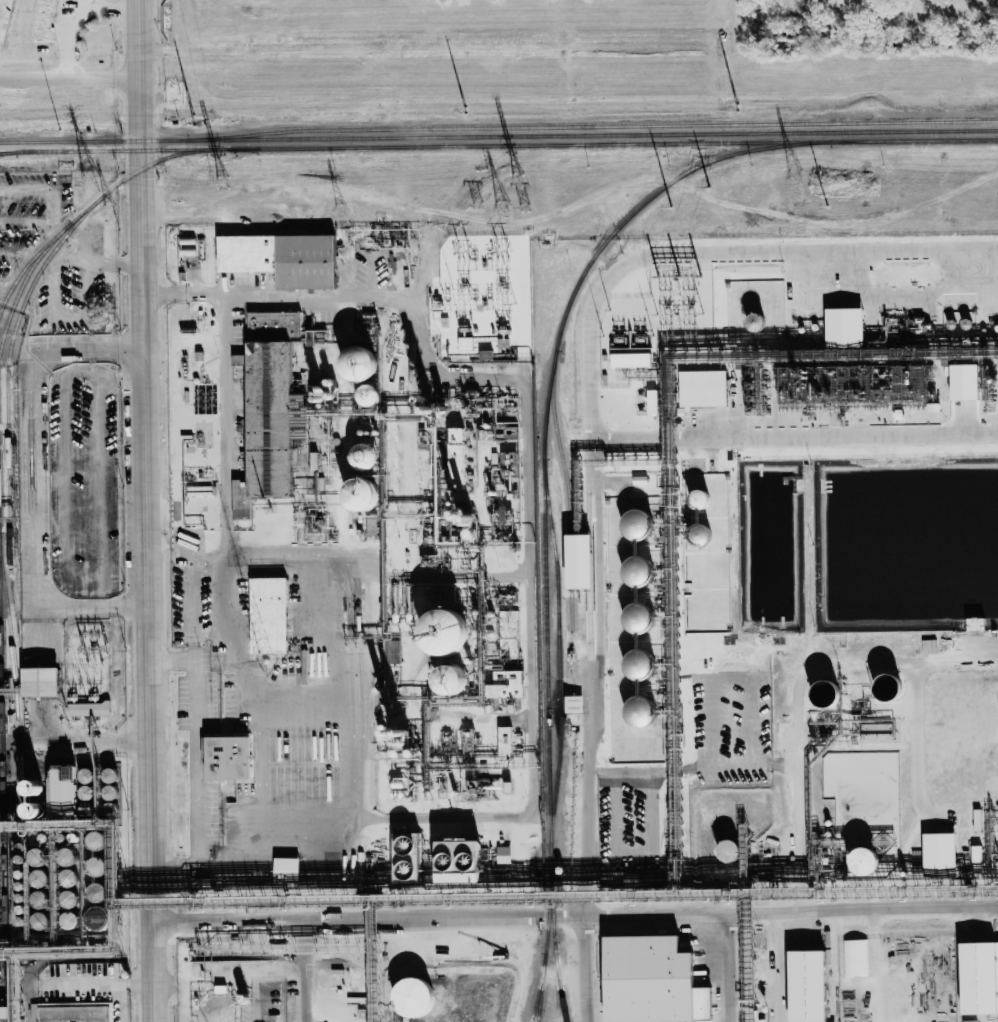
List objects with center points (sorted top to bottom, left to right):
road: (115, 11)
road: (68, 38)
road: (70, 77)
power tower: (737, 111)
power tower: (464, 113)
power tower: (194, 119)
railway: (592, 125)
railway: (499, 135)
railway: (505, 145)
railway: (7, 152)
railway: (7, 152)
power tower: (795, 176)
power tower: (516, 179)
power tower: (90, 181)
power tower: (221, 182)
power tower: (477, 203)
power tower: (840, 204)
power tower: (683, 206)
power tower: (502, 207)
power tower: (110, 209)
power tower: (341, 209)
railway: (80, 213)
building: (281, 258)
railway: (29, 260)
road: (99, 261)
power substation: (487, 286)
building: (754, 323)
building: (844, 325)
building: (465, 343)
road: (70, 346)
building: (239, 359)
building: (631, 360)
building: (359, 364)
railway: (7, 368)
building: (965, 382)
building: (702, 388)
building: (369, 395)
building: (299, 402)
building: (268, 409)
railway: (557, 441)
building: (364, 456)
building: (456, 458)
parking lot: (88, 477)
building: (362, 495)
railway: (543, 497)
building: (700, 499)
road: (143, 511)
building: (636, 524)
road: (43, 528)
building: (701, 534)
railway: (569, 562)
building: (578, 562)
building: (636, 571)
road: (227, 575)
road: (532, 586)
railway: (570, 612)
building: (268, 615)
building: (637, 618)
building: (975, 624)
building: (445, 634)
building: (1, 639)
road: (332, 644)
building: (928, 647)
railway: (557, 658)
power substation: (95, 662)
building: (639, 665)
road: (596, 673)
building: (452, 681)
building: (40, 682)
building: (506, 685)
building: (889, 688)
building: (825, 693)
railway: (16, 700)
road: (302, 701)
building: (574, 704)
building: (88, 709)
building: (640, 712)
building: (393, 737)
road: (193, 740)
building: (504, 742)
building: (227, 759)
road: (669, 768)
building: (108, 776)
building: (85, 777)
building: (64, 789)
building: (85, 794)
building: (33, 802)
road: (648, 811)
road: (684, 824)
road: (615, 826)
building: (94, 841)
railway: (2, 844)
building: (729, 852)
building: (939, 853)
building: (976, 853)
building: (504, 854)
building: (37, 858)
building: (67, 858)
building: (458, 858)
building: (409, 859)
building: (865, 863)
building: (96, 867)
building: (286, 868)
building: (68, 878)
building: (38, 879)
building: (96, 893)
building: (68, 899)
building: (38, 900)
road: (859, 908)
road: (493, 915)
building: (98, 919)
building: (39, 921)
building: (69, 921)
railway: (545, 949)
building: (849, 953)
road: (775, 966)
road: (303, 970)
building: (979, 976)
building: (652, 980)
railway: (557, 981)
road: (101, 985)
building: (808, 985)
railway: (540, 987)
building: (414, 996)
building: (70, 1012)
railway: (537, 1015)

